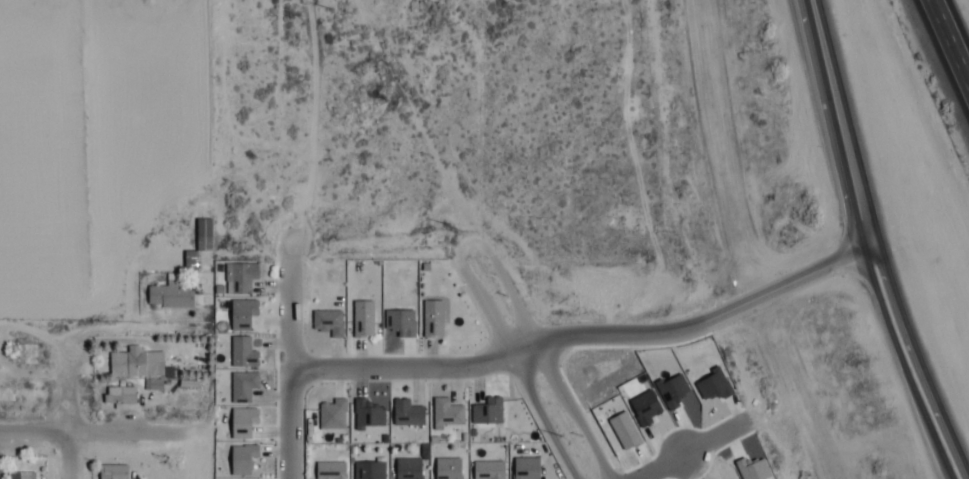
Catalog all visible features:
road: (951, 40)
road: (833, 127)
road: (71, 229)
building: (204, 236)
road: (35, 250)
road: (496, 283)
building: (171, 297)
road: (477, 313)
road: (134, 334)
road: (580, 341)
road: (916, 365)
road: (897, 368)
building: (136, 369)
road: (283, 373)
building: (120, 397)
road: (566, 414)
road: (534, 419)
road: (97, 438)
road: (691, 454)
building: (112, 472)
building: (22, 476)

